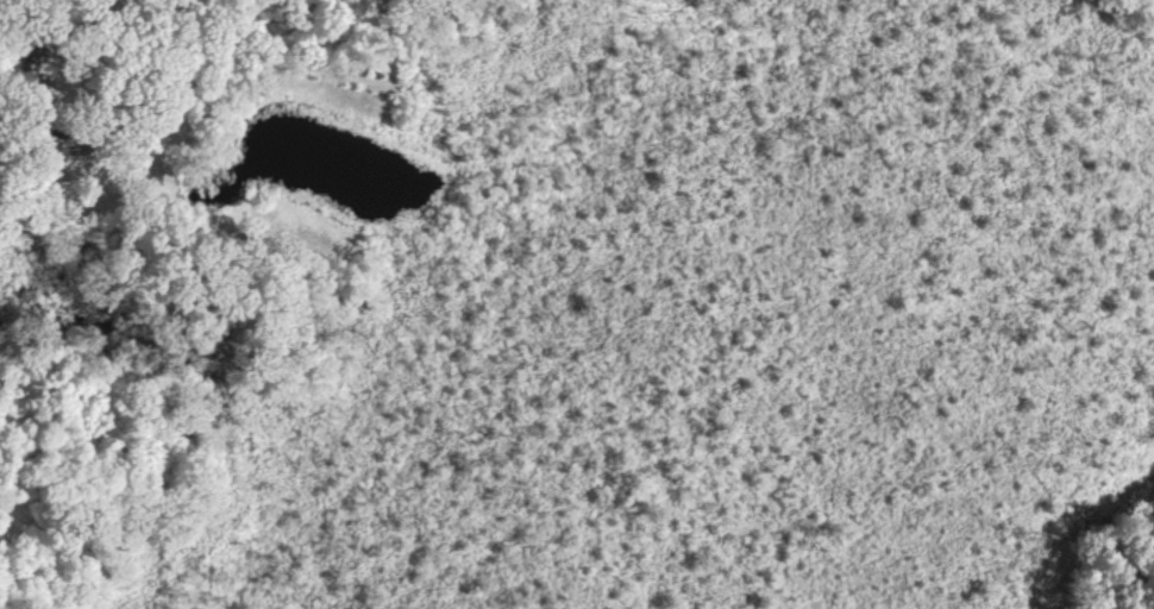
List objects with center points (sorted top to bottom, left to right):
park: (26, 24)
building: (56, 146)

